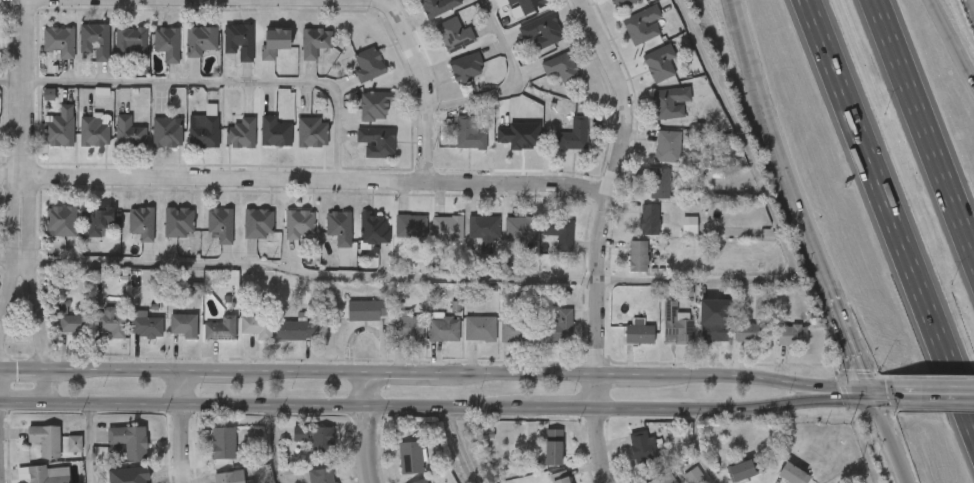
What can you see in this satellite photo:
building: (623, 3)
building: (526, 4)
building: (438, 6)
building: (642, 24)
building: (541, 30)
building: (455, 33)
building: (201, 40)
building: (60, 41)
building: (95, 41)
building: (131, 41)
building: (239, 41)
building: (275, 42)
building: (316, 42)
road: (951, 42)
building: (168, 43)
building: (659, 64)
building: (369, 65)
building: (467, 66)
building: (561, 67)
road: (12, 82)
road: (224, 83)
road: (425, 83)
road: (522, 85)
building: (49, 94)
building: (669, 102)
building: (375, 106)
road: (927, 123)
road: (24, 127)
building: (59, 131)
building: (95, 131)
building: (130, 132)
building: (166, 132)
building: (276, 132)
building: (313, 132)
building: (205, 133)
building: (242, 133)
building: (468, 133)
building: (574, 133)
building: (520, 136)
building: (378, 142)
building: (667, 145)
road: (773, 145)
road: (304, 180)
building: (660, 182)
building: (720, 198)
building: (649, 219)
building: (98, 220)
building: (61, 221)
building: (141, 222)
building: (178, 222)
building: (299, 223)
building: (220, 224)
building: (258, 224)
building: (688, 224)
building: (411, 225)
building: (339, 227)
building: (484, 227)
building: (375, 228)
building: (448, 228)
building: (520, 228)
road: (776, 229)
road: (886, 229)
building: (557, 232)
road: (601, 236)
building: (638, 255)
road: (8, 263)
road: (311, 278)
building: (525, 296)
road: (4, 306)
building: (64, 308)
building: (367, 310)
building: (112, 321)
building: (72, 323)
building: (183, 325)
building: (559, 325)
building: (147, 326)
building: (257, 326)
road: (41, 328)
building: (409, 328)
building: (444, 328)
building: (479, 328)
building: (677, 328)
building: (220, 329)
building: (516, 329)
building: (295, 330)
building: (713, 332)
building: (750, 332)
building: (639, 334)
road: (847, 334)
building: (791, 335)
road: (433, 368)
traffic signals: (866, 382)
road: (885, 382)
road: (939, 382)
road: (1, 384)
road: (869, 392)
road: (941, 401)
traffic signals: (873, 402)
road: (454, 411)
road: (183, 425)
road: (367, 425)
building: (315, 437)
building: (46, 439)
building: (129, 440)
road: (889, 442)
building: (75, 443)
building: (223, 443)
road: (91, 445)
building: (643, 446)
road: (276, 447)
building: (553, 447)
building: (411, 458)
building: (742, 470)
building: (45, 474)
building: (793, 474)
building: (323, 475)
building: (694, 475)
building: (229, 477)
building: (559, 477)
building: (664, 477)
road: (0, 479)
building: (424, 482)

